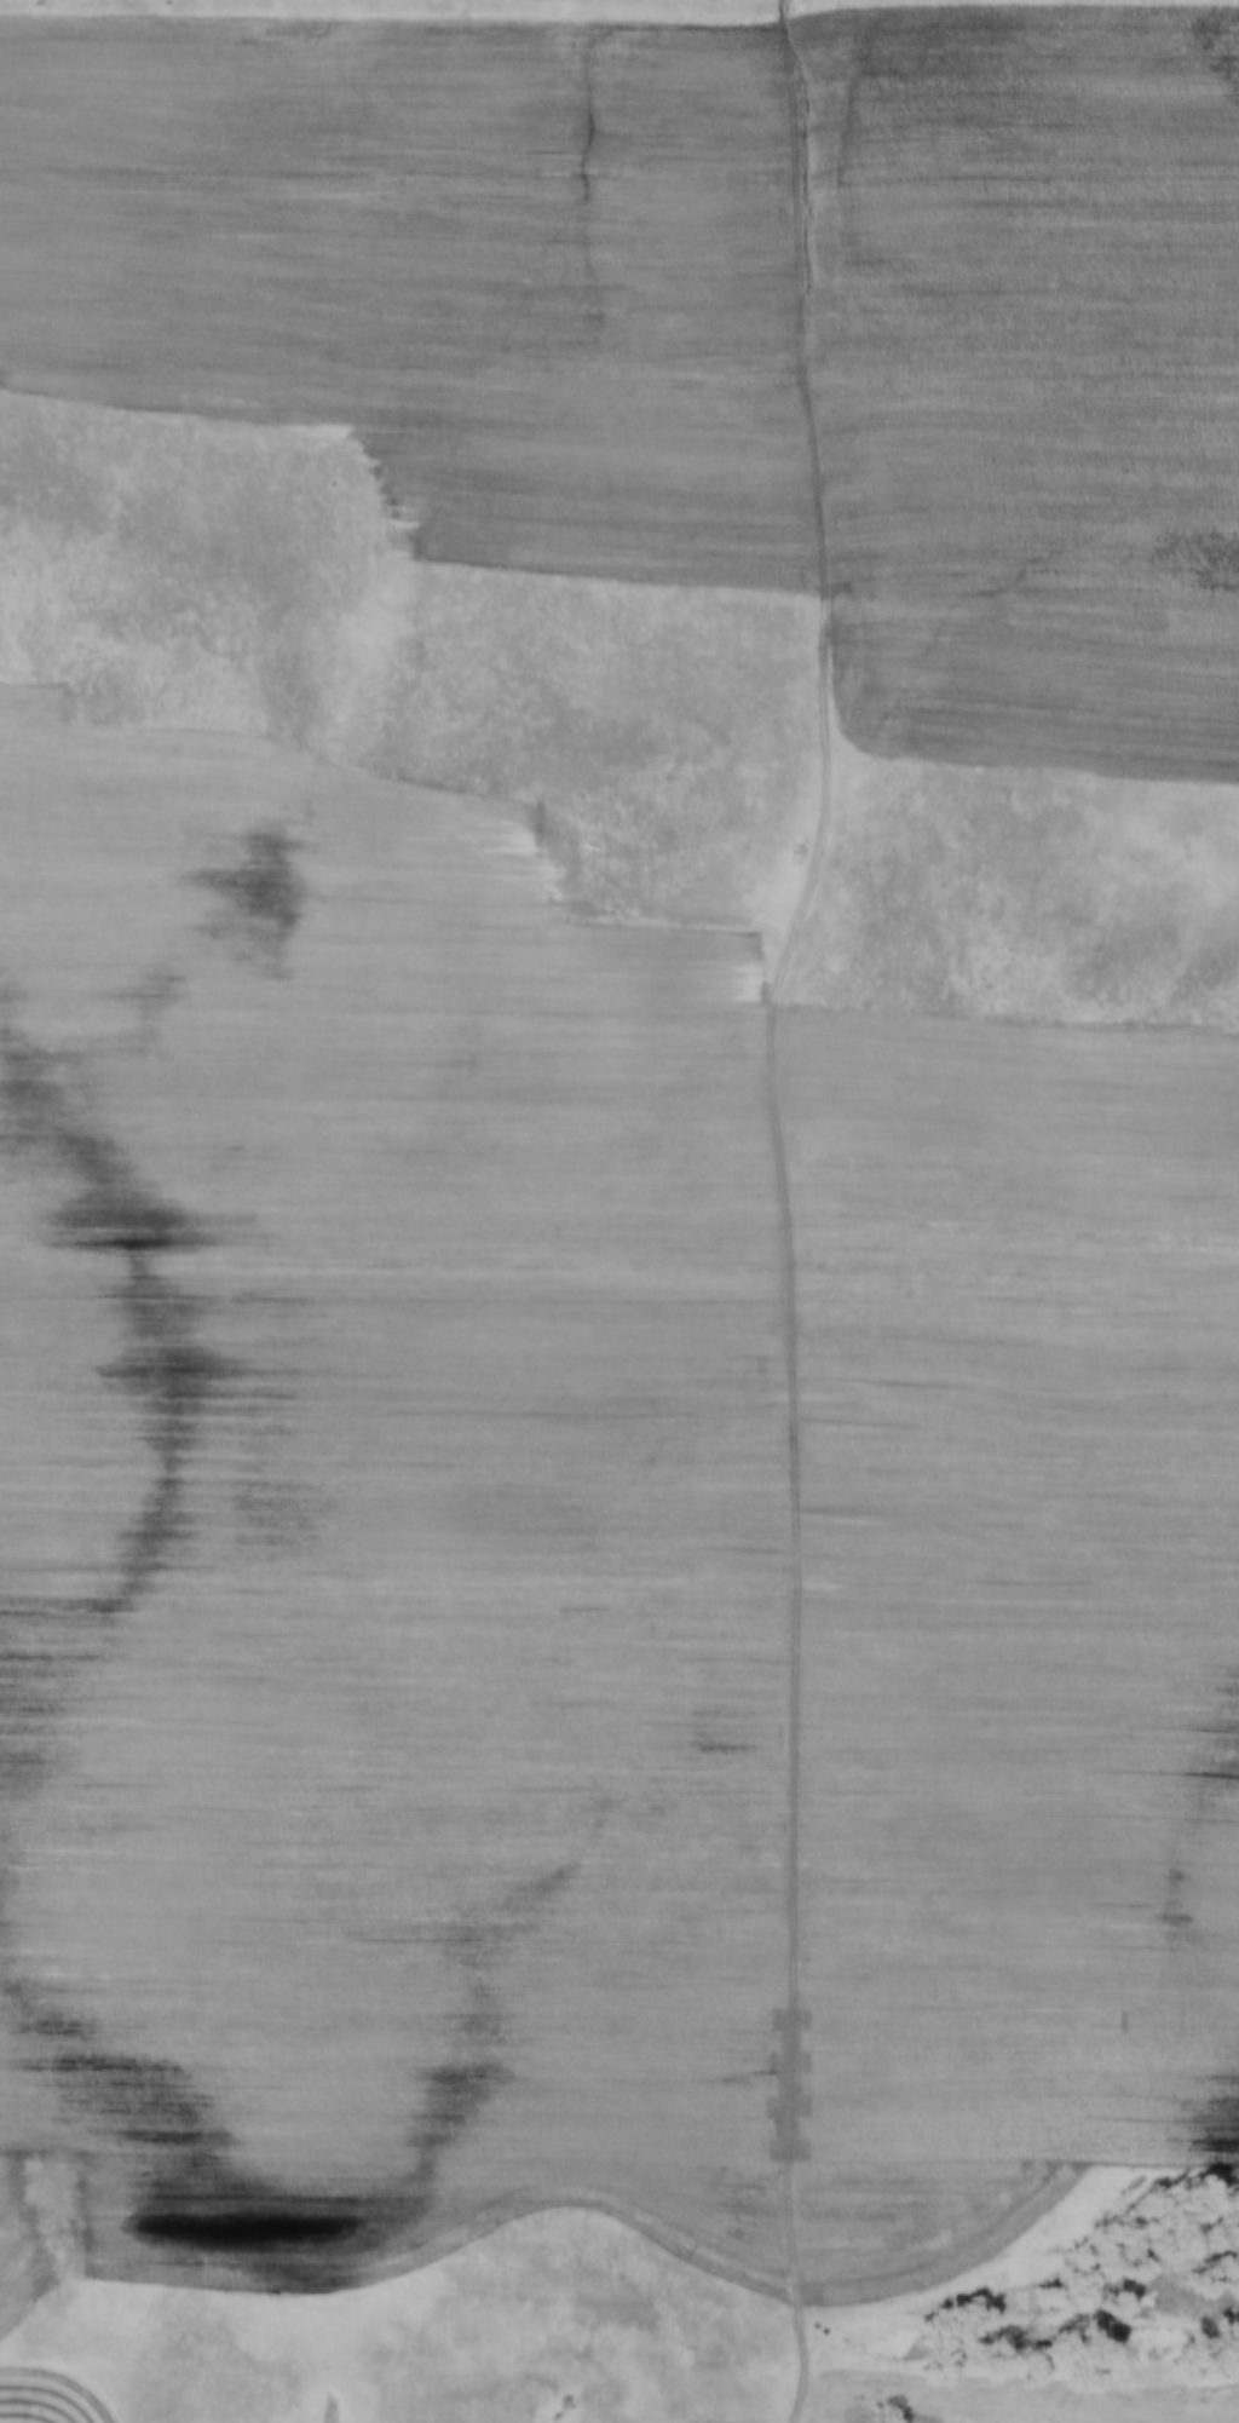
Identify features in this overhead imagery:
road: (65, 2379)
road: (720, 2422)

